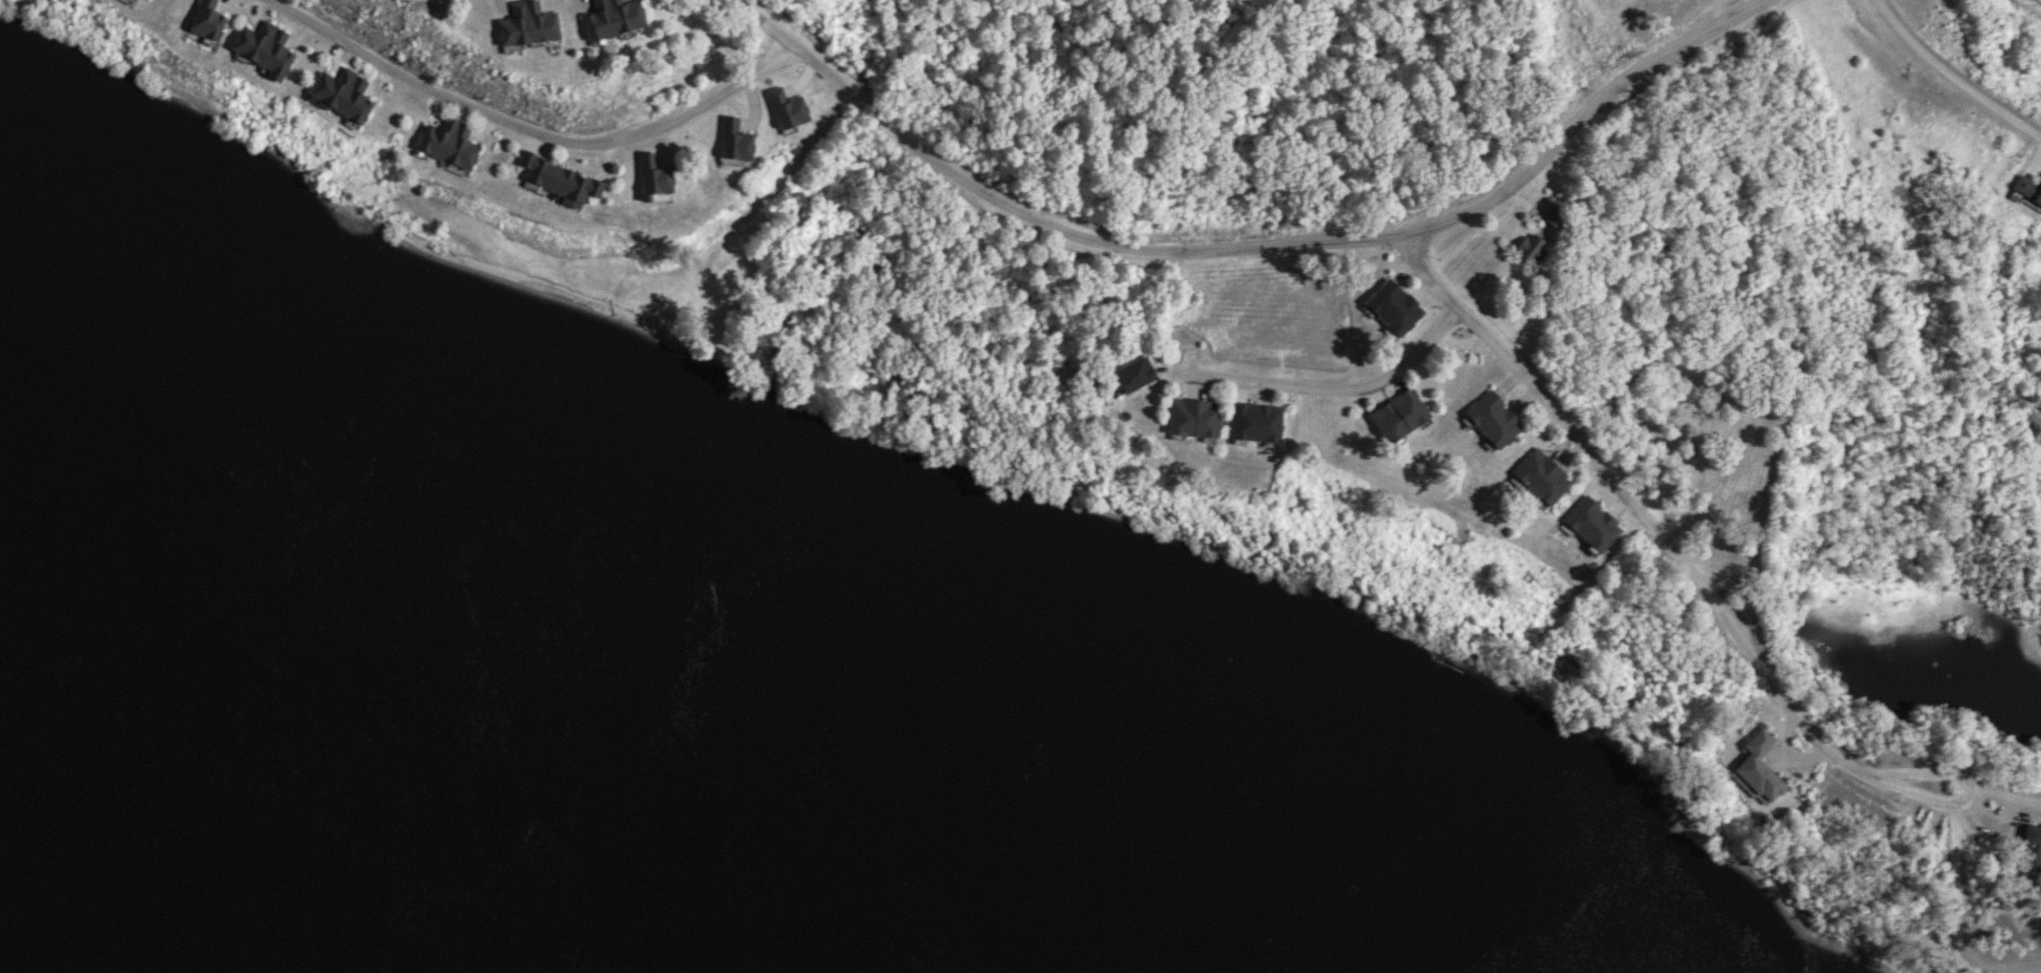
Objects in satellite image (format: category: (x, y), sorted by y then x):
building: (609, 18)
building: (205, 21)
building: (523, 23)
building: (261, 48)
road: (1950, 78)
building: (340, 94)
building: (784, 108)
road: (527, 131)
building: (731, 140)
building: (446, 144)
building: (651, 175)
building: (555, 180)
building: (2027, 188)
building: (1554, 217)
road: (1245, 248)
building: (1528, 249)
building: (1391, 307)
building: (1131, 374)
road: (1350, 390)
building: (1397, 414)
building: (1192, 417)
building: (1491, 419)
building: (1254, 422)
building: (1539, 476)
building: (1591, 524)
quarry: (1921, 569)
road: (1692, 574)
building: (1756, 768)
building: (2027, 849)

